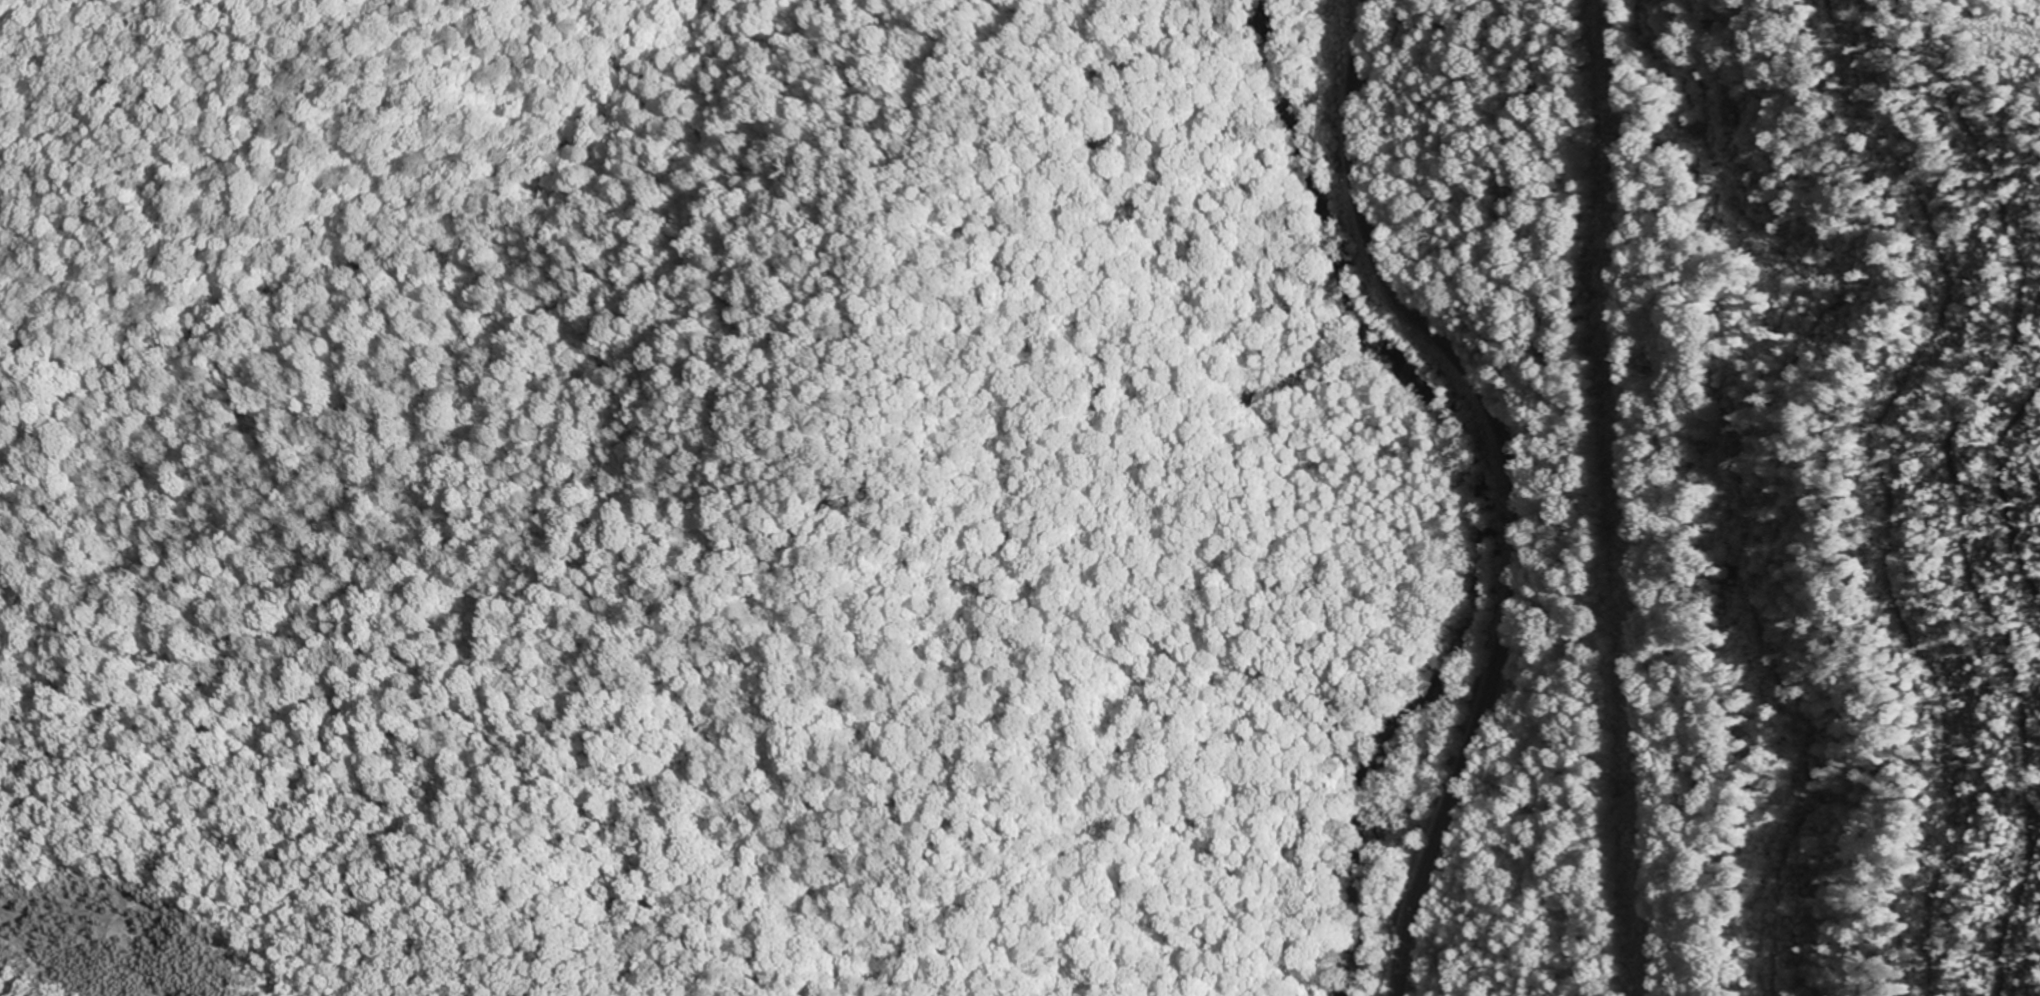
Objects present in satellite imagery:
road: (1514, 483)

